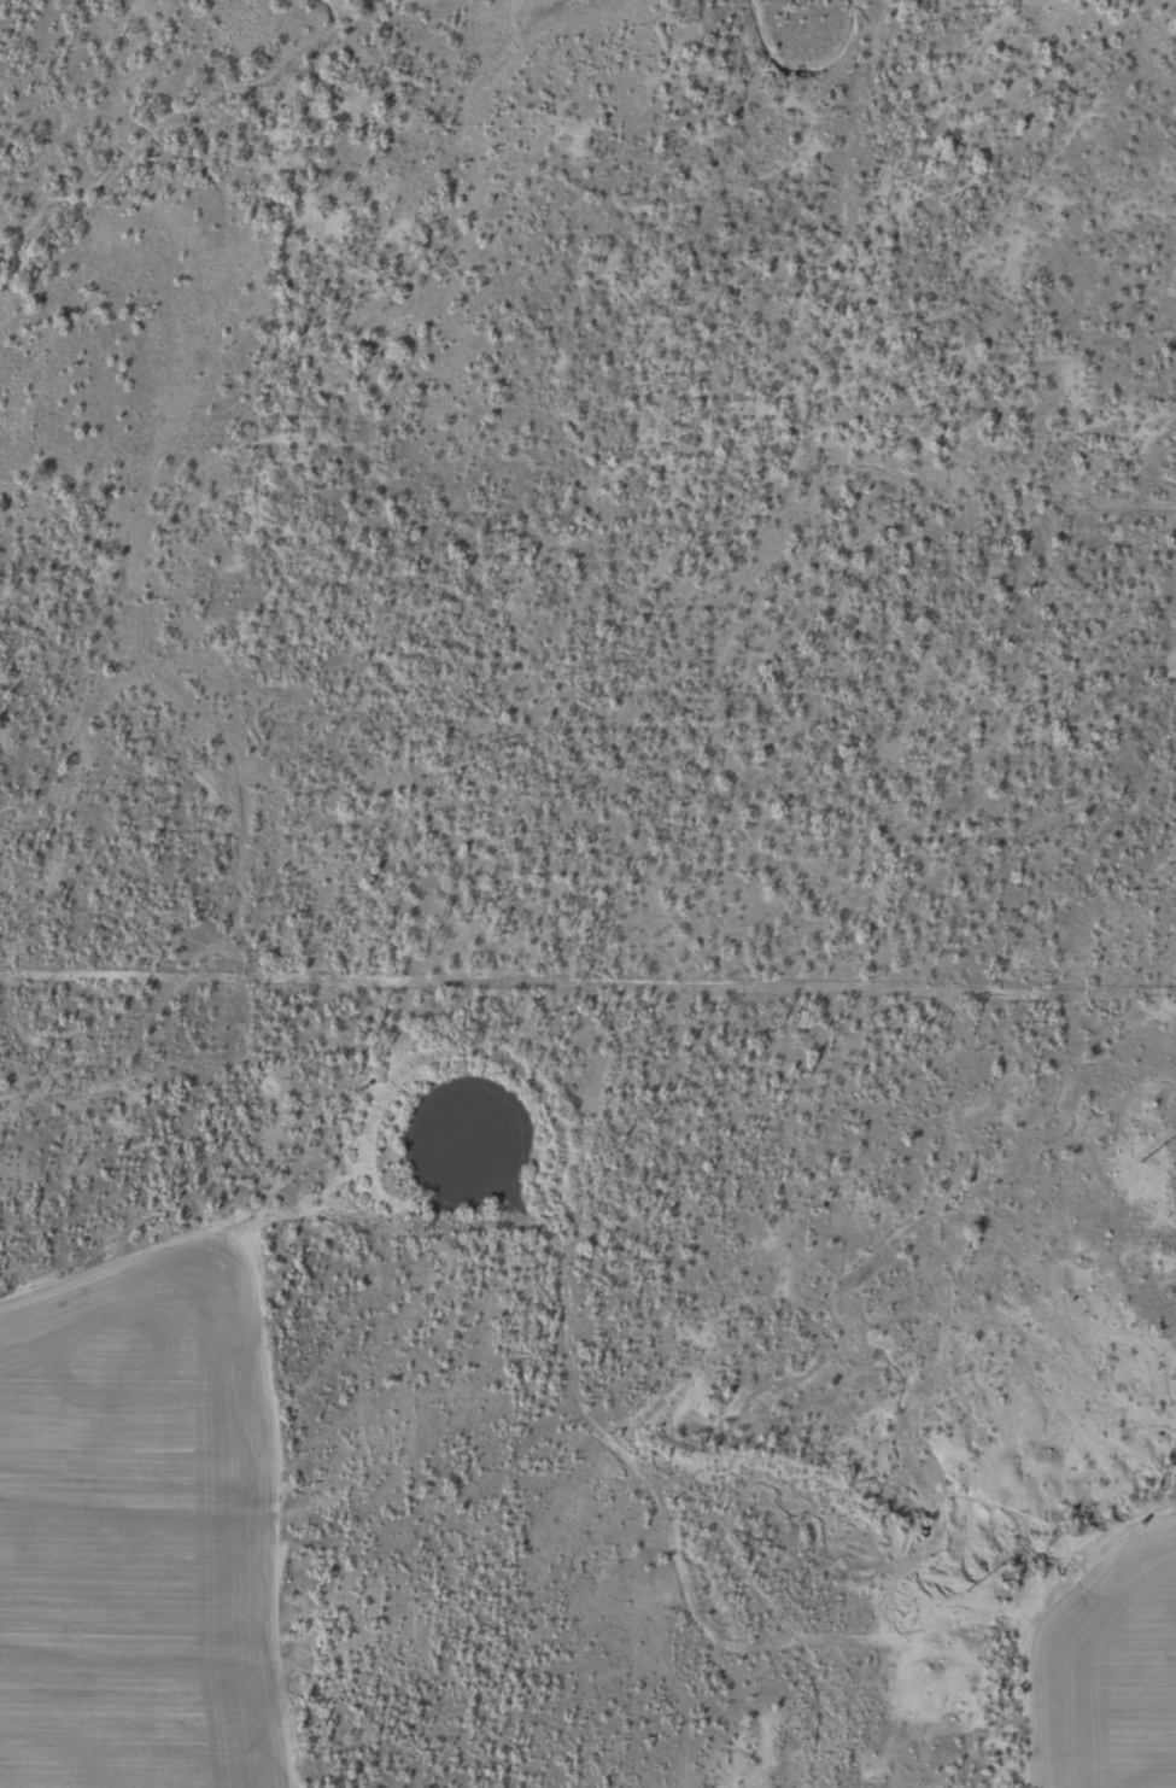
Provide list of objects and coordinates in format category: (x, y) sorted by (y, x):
power tower: (1137, 1171)
power tower: (967, 1587)

